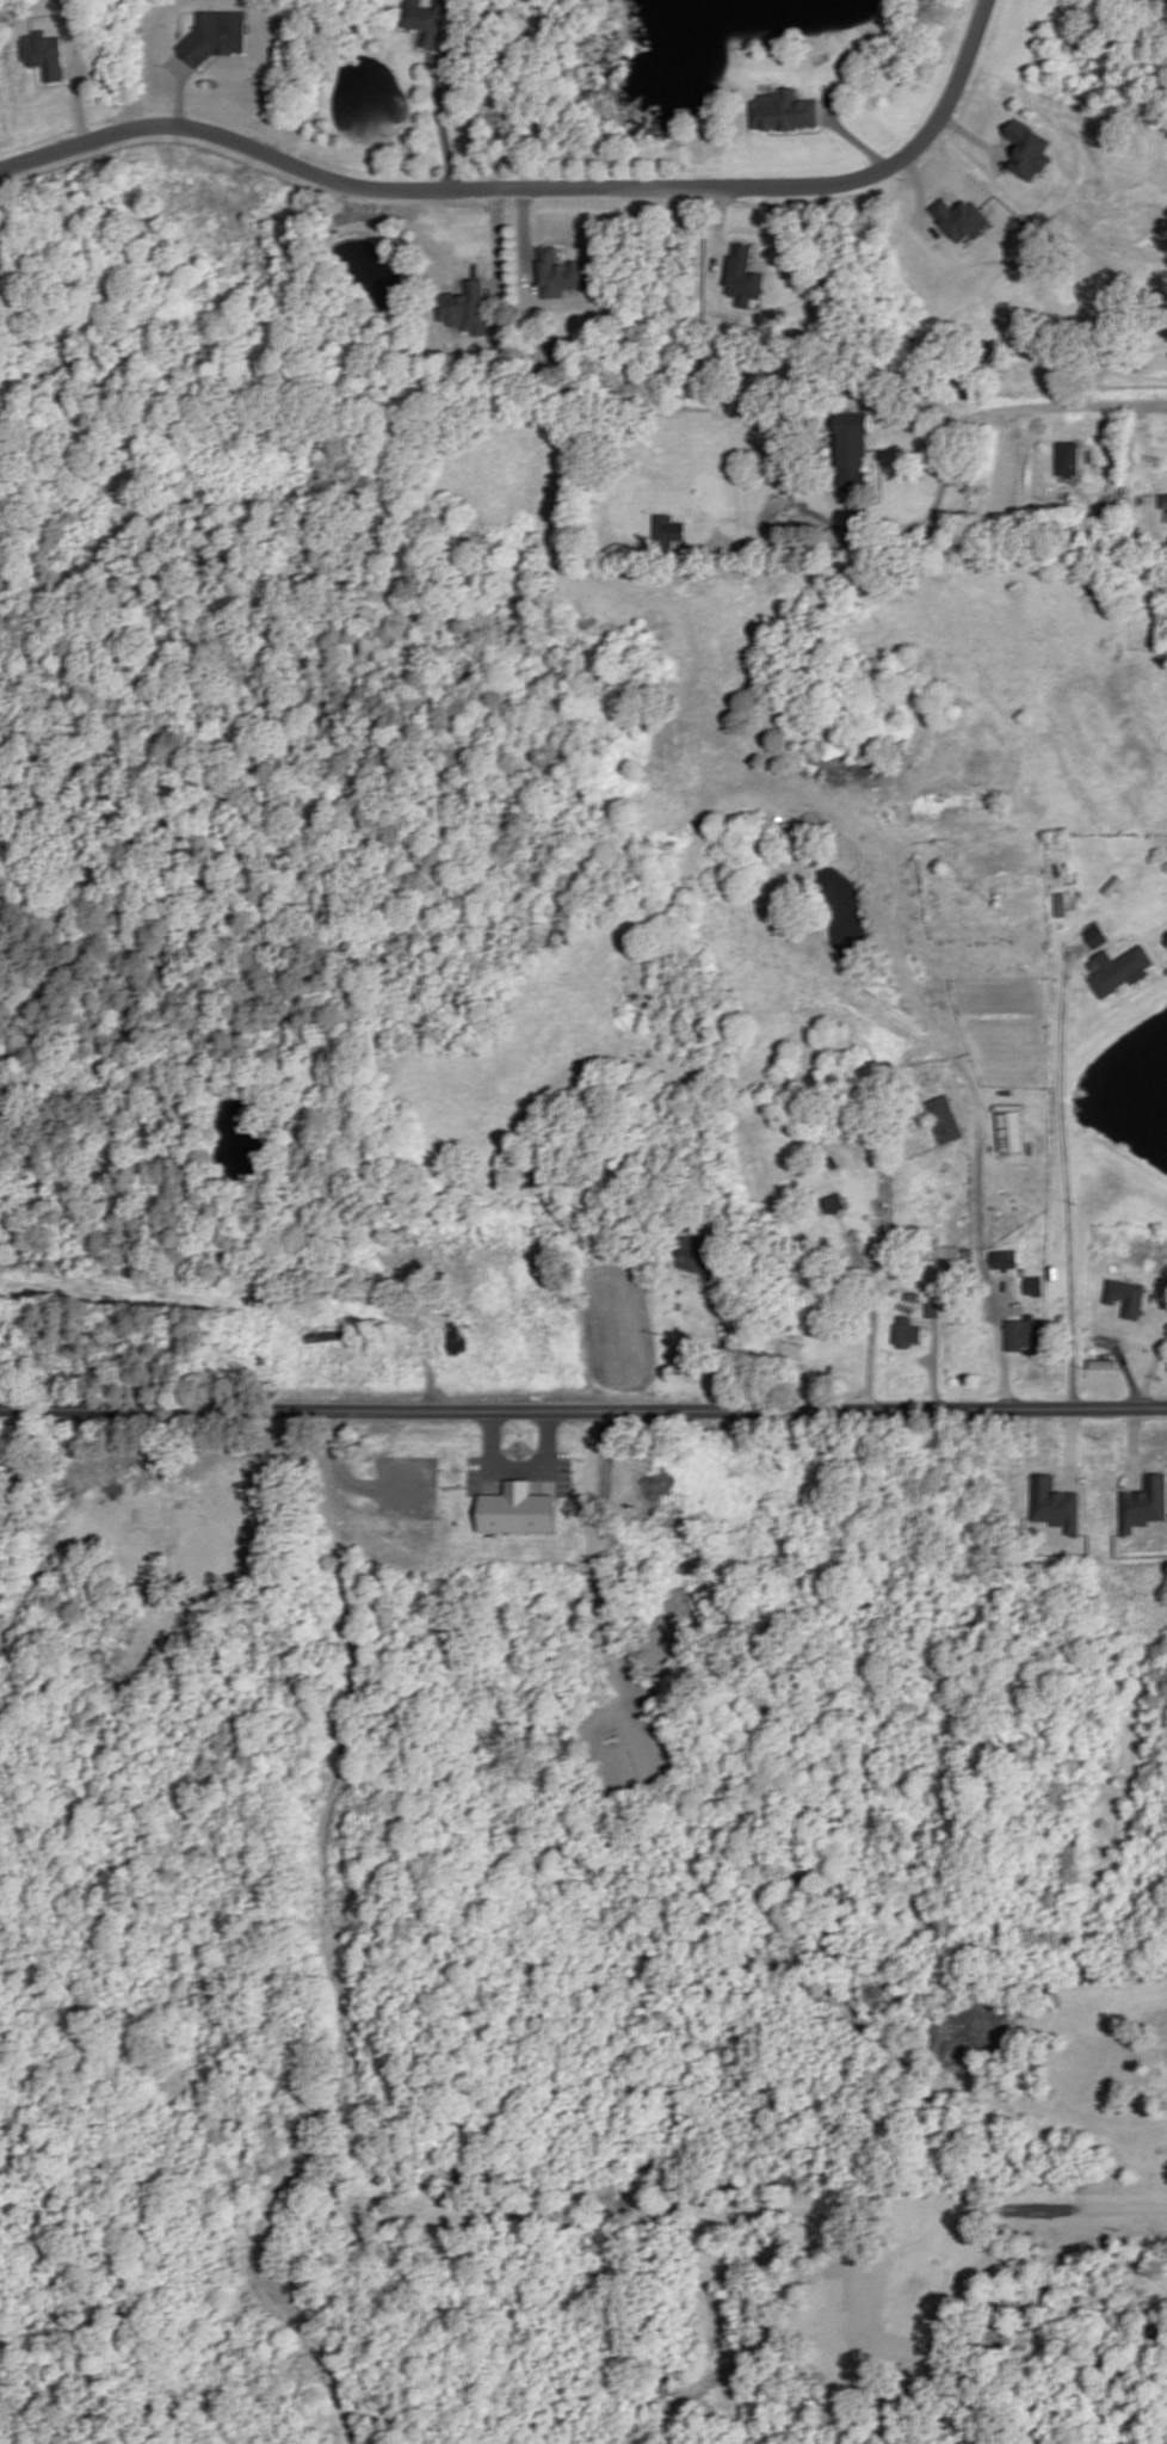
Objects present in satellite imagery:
building: (427, 21)
building: (217, 35)
building: (45, 53)
building: (786, 113)
road: (439, 122)
road: (802, 134)
road: (852, 137)
building: (1027, 149)
road: (536, 189)
building: (961, 217)
road: (523, 232)
road: (495, 245)
building: (746, 275)
building: (560, 277)
building: (467, 310)
road: (1095, 429)
building: (842, 447)
building: (1062, 460)
road: (940, 474)
building: (1160, 503)
building: (667, 531)
building: (1055, 904)
building: (1091, 936)
building: (1113, 969)
building: (938, 1119)
building: (1004, 1132)
road: (1062, 1175)
building: (834, 1205)
building: (698, 1254)
building: (1000, 1260)
road: (982, 1269)
building: (1046, 1273)
building: (1029, 1286)
building: (941, 1295)
building: (1128, 1295)
building: (912, 1298)
building: (931, 1310)
building: (1120, 1313)
road: (871, 1322)
building: (906, 1332)
building: (1017, 1334)
building: (459, 1341)
road: (721, 1346)
road: (933, 1363)
road: (1120, 1367)
road: (583, 1411)
building: (1144, 1503)
building: (1056, 1504)
building: (518, 1509)

